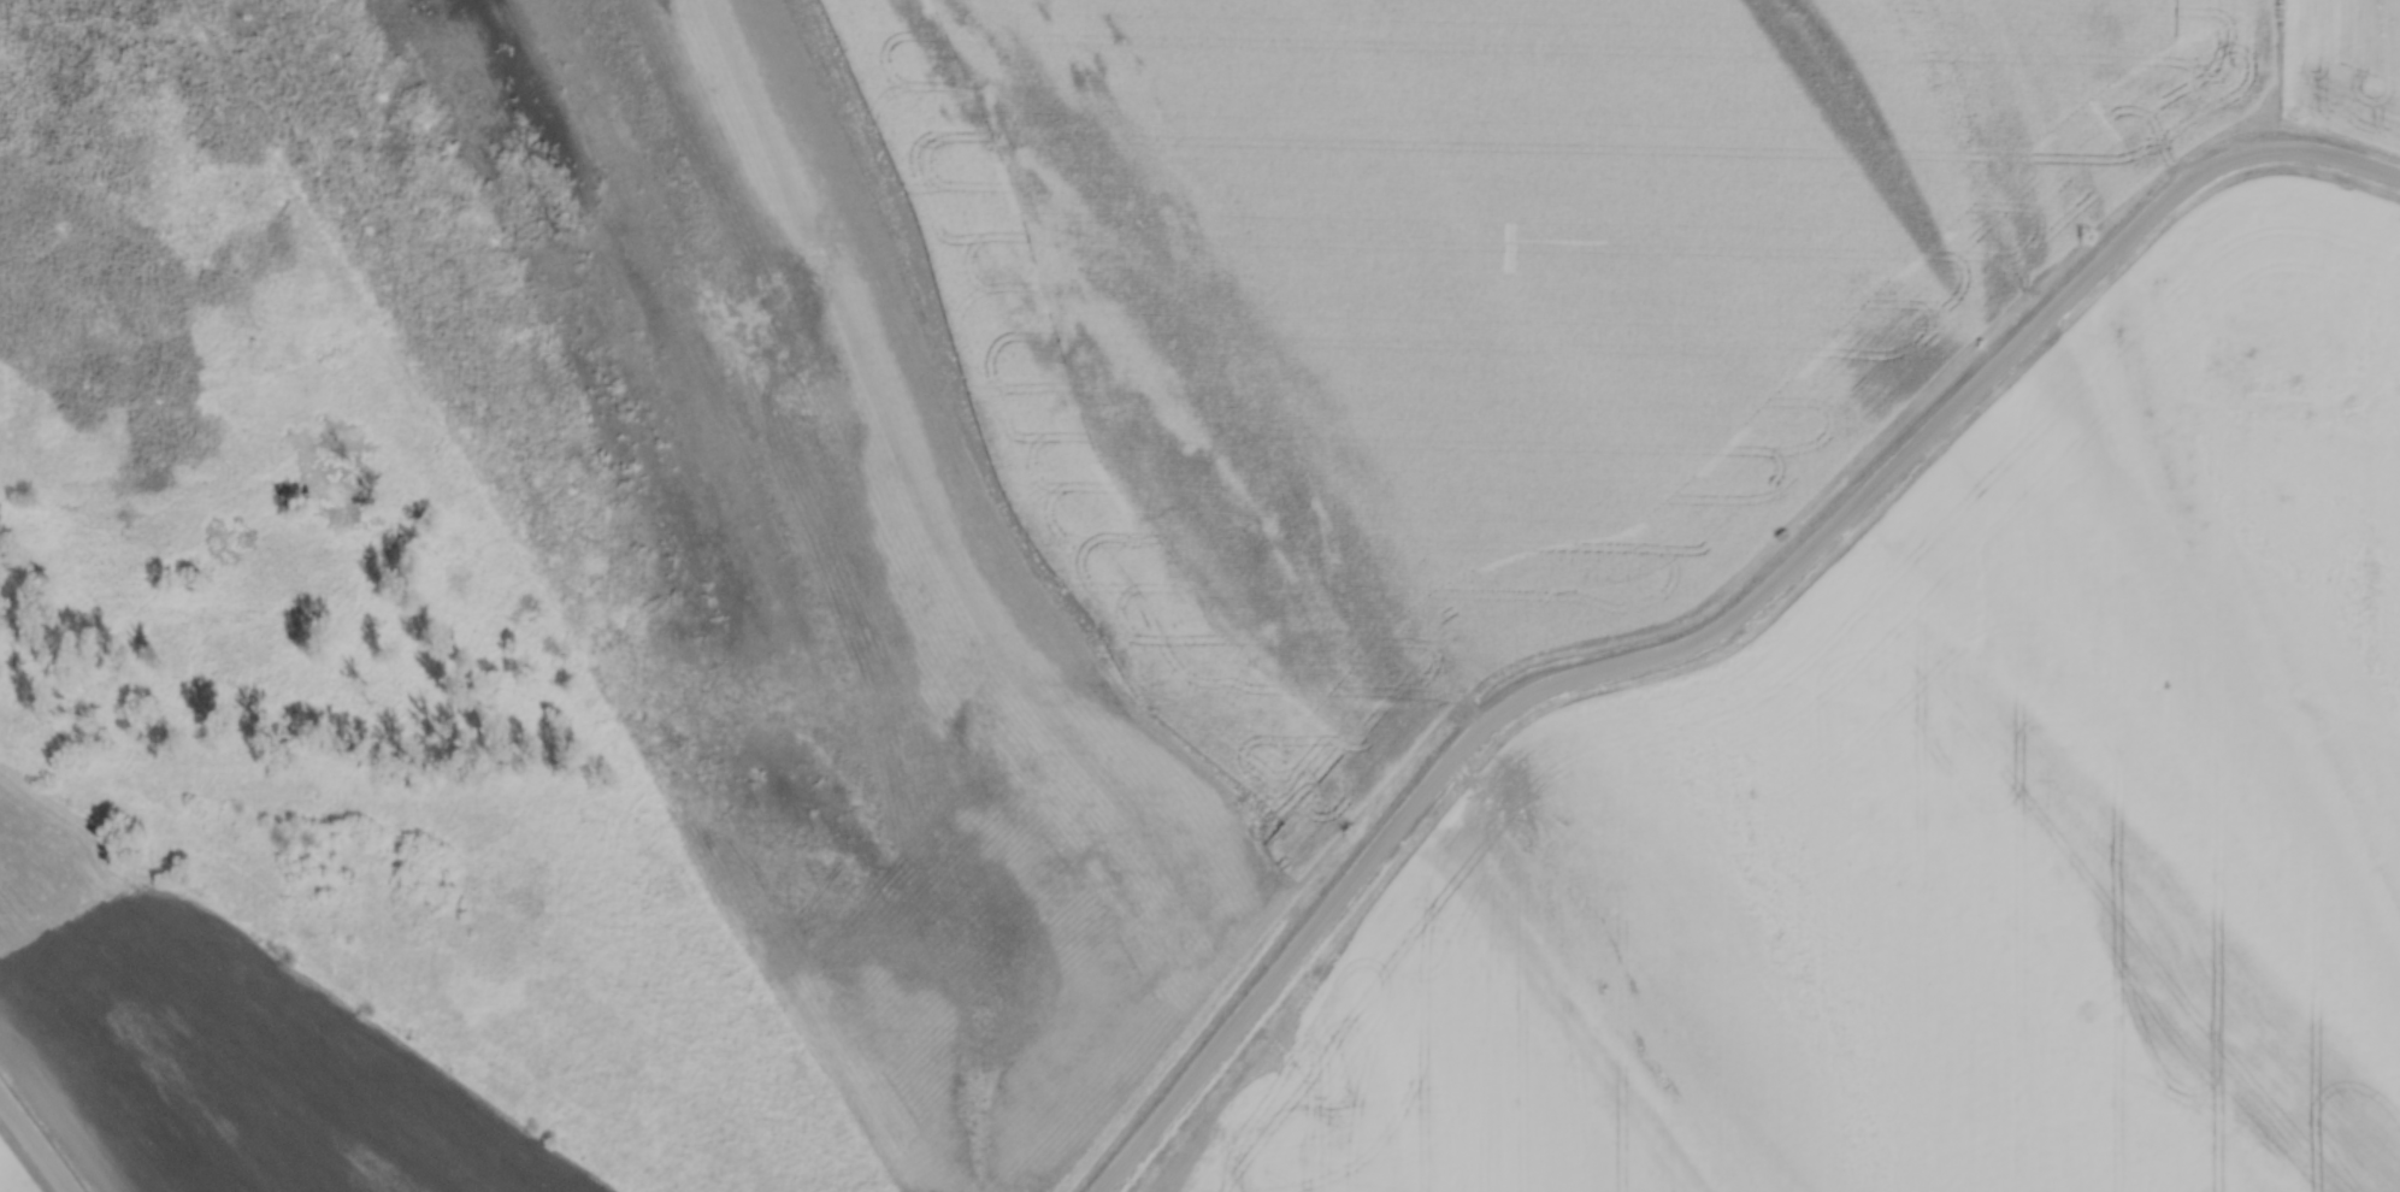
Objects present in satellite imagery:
road: (1706, 600)
road: (35, 1145)

